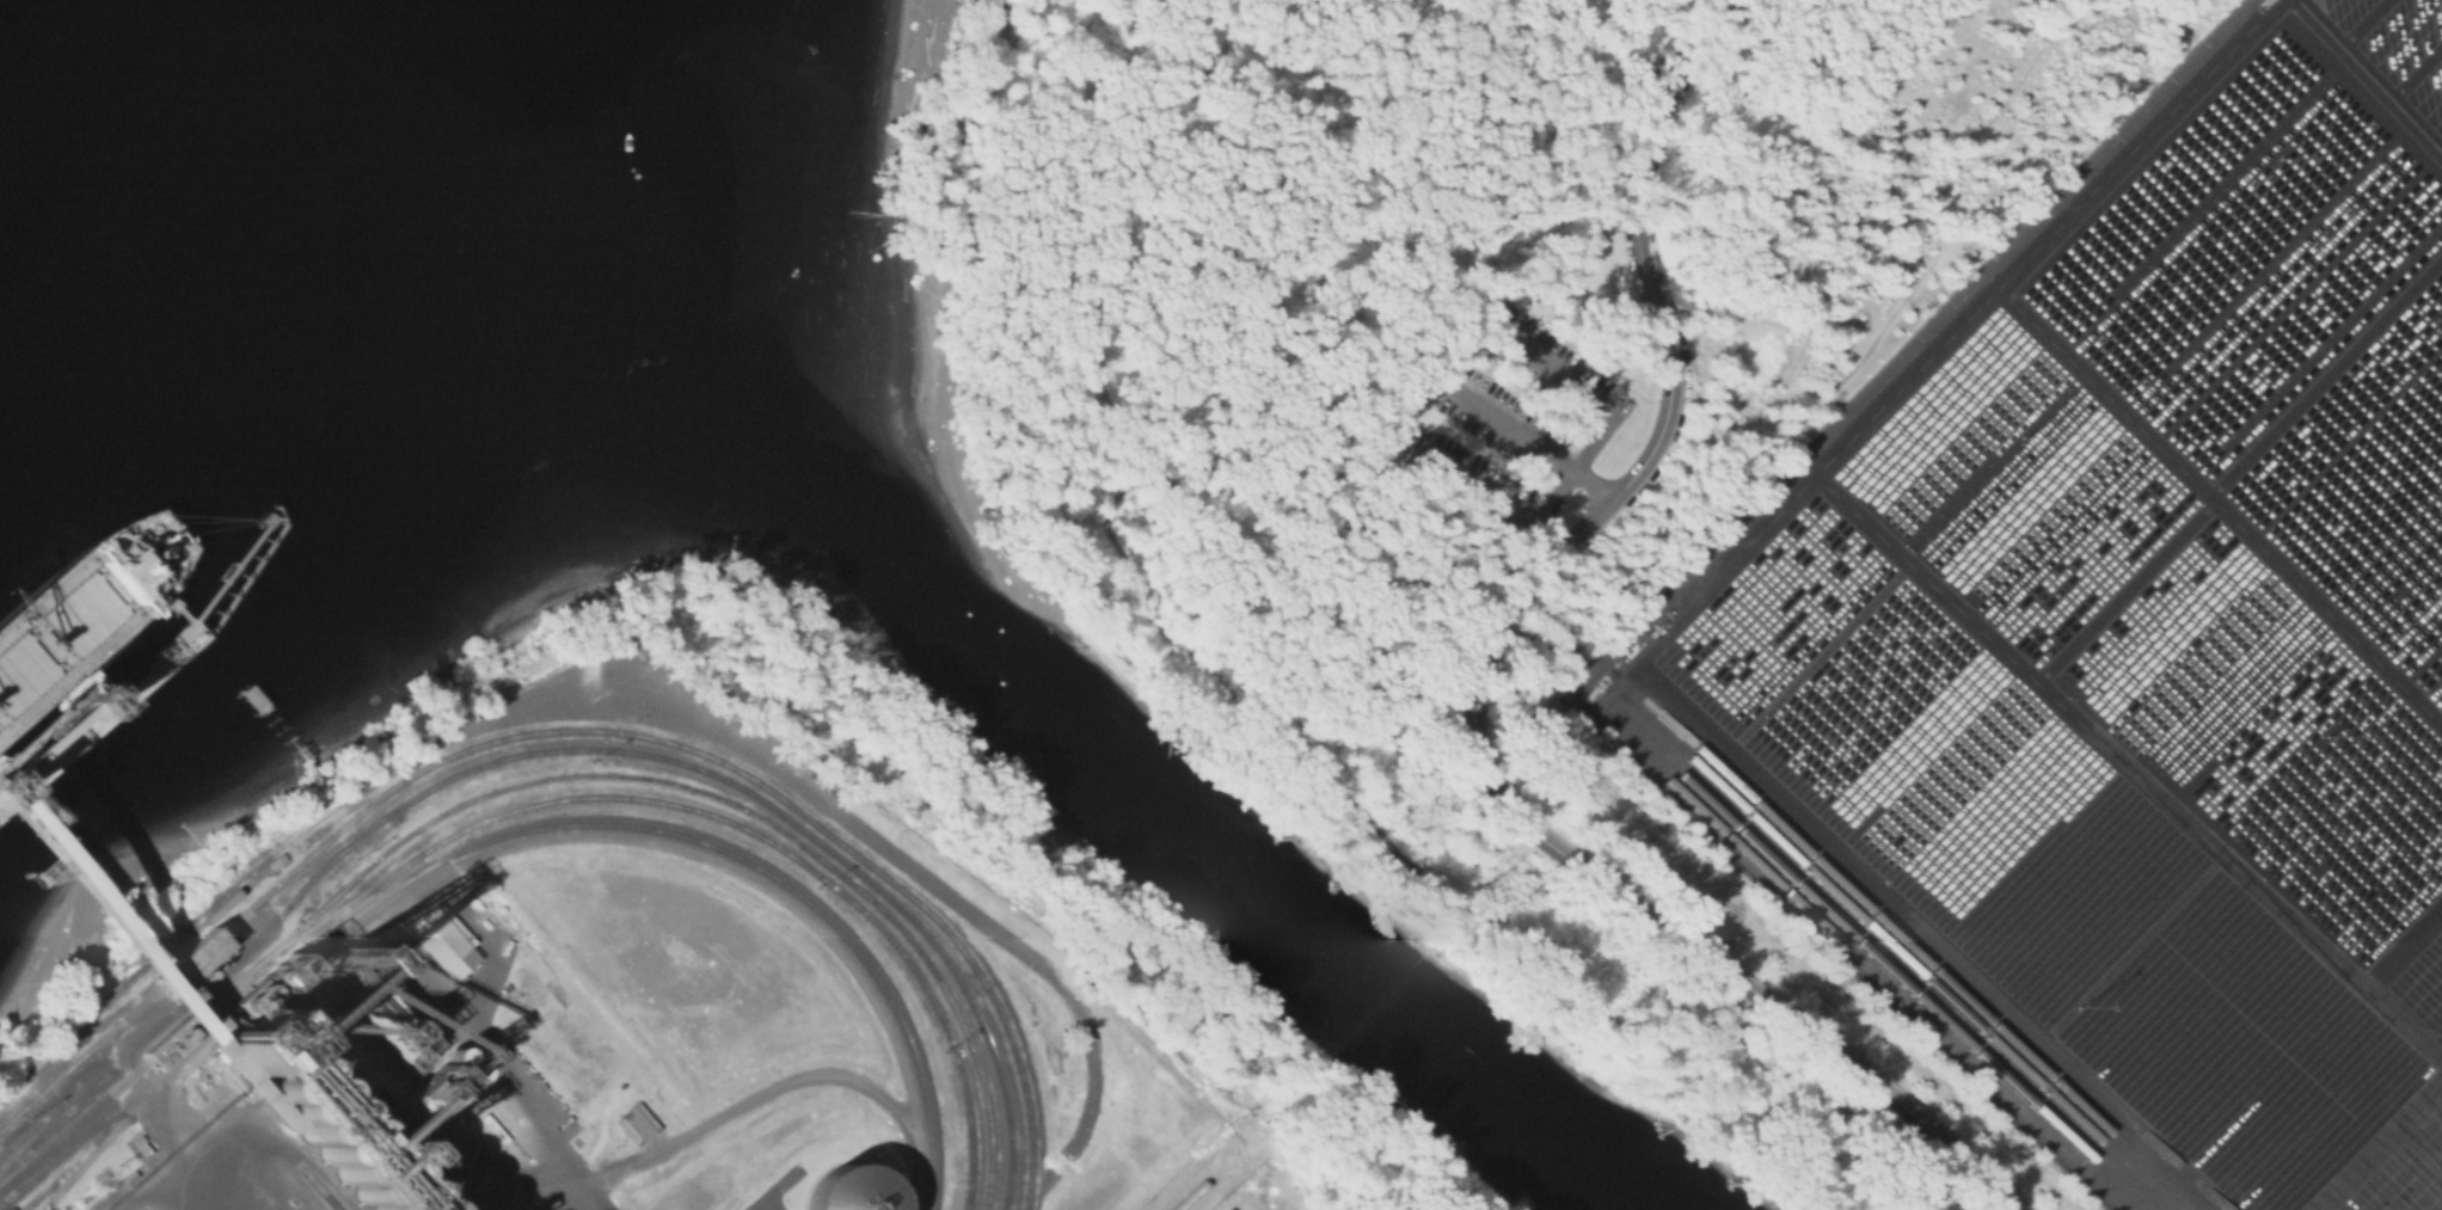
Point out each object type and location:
road: (2361, 23)
road: (1705, 45)
road: (1610, 51)
road: (2416, 70)
road: (2369, 76)
road: (2441, 148)
road: (1118, 216)
road: (1431, 369)
parking lot: (1490, 410)
road: (1051, 414)
road: (1002, 416)
park: (1470, 437)
road: (1521, 437)
road: (1016, 466)
road: (1276, 496)
road: (2220, 503)
road: (1125, 577)
pier: (243, 579)
pier: (173, 612)
road: (1673, 620)
pier: (99, 706)
pier: (24, 724)
railway: (583, 730)
pier: (286, 735)
road: (1474, 742)
railway: (567, 750)
road: (2130, 767)
road: (1314, 773)
railway: (546, 800)
railway: (724, 800)
railway: (532, 829)
railway: (325, 855)
railway: (357, 907)
road: (810, 920)
pier: (86, 922)
railway: (189, 933)
building: (440, 944)
road: (2405, 947)
building: (183, 958)
railway: (1941, 978)
railway: (1925, 982)
building: (208, 988)
railway: (1903, 988)
railway: (1894, 993)
building: (373, 1006)
road: (250, 1012)
road: (2432, 1036)
building: (173, 1040)
building: (249, 1043)
road: (483, 1051)
building: (446, 1057)
railway: (56, 1062)
building: (461, 1071)
building: (418, 1100)
building: (637, 1123)
building: (331, 1132)
silo: (331, 1132)
railway: (31, 1136)
road: (2376, 1144)
road: (221, 1163)
railway: (54, 1172)
railway: (1198, 1188)
building: (851, 1190)
silo: (851, 1190)

